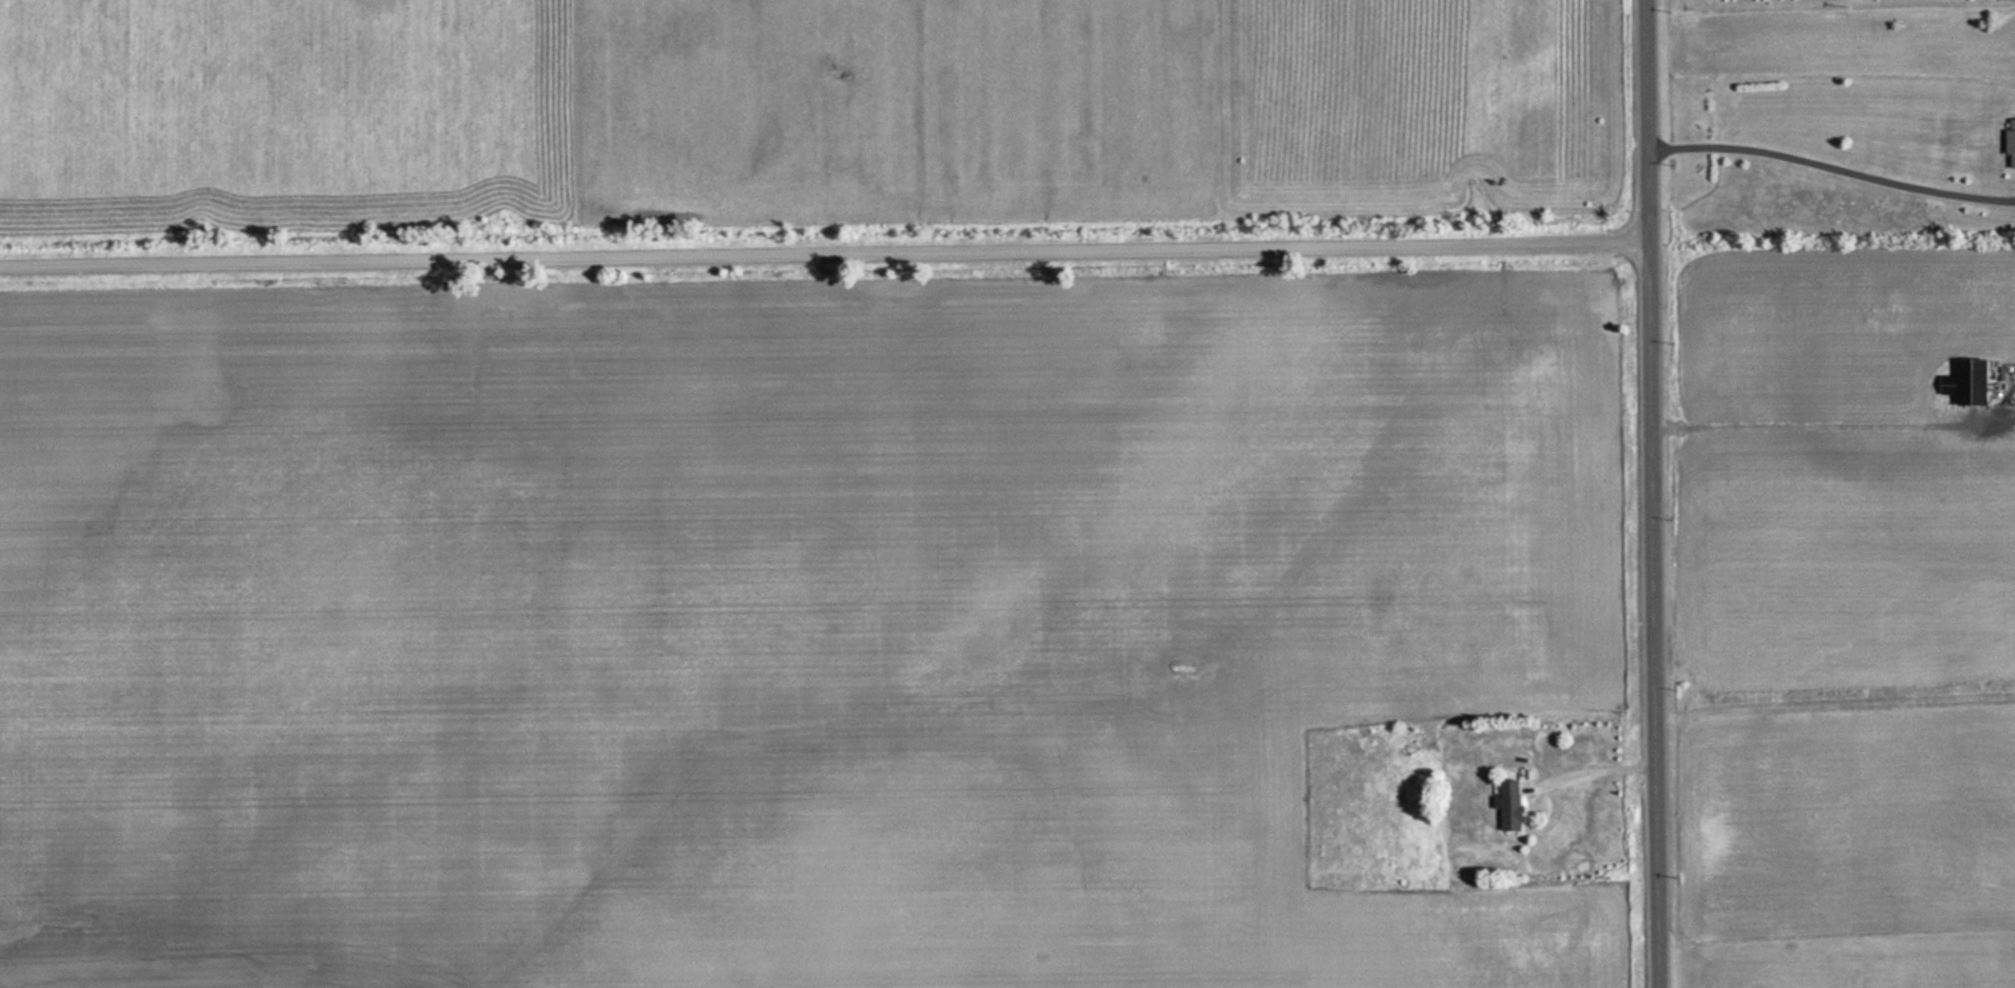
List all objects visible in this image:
building: (2009, 142)
road: (824, 258)
road: (1653, 494)
building: (1507, 801)

